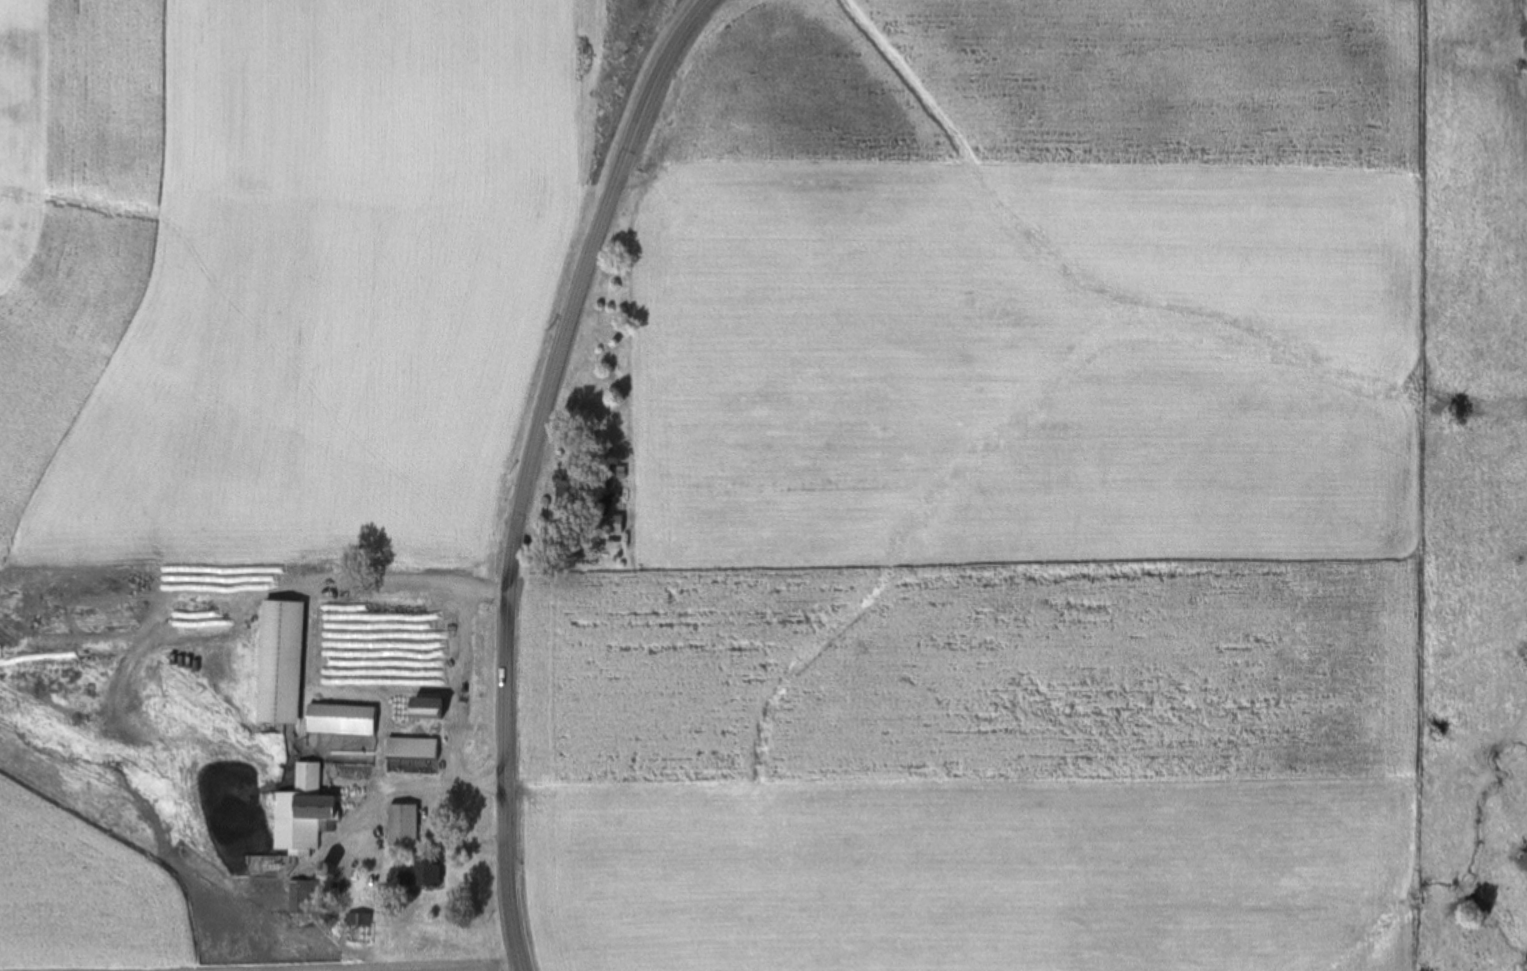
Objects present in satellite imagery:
road: (531, 468)
building: (571, 494)
building: (613, 523)
building: (280, 662)
building: (424, 708)
building: (342, 719)
building: (410, 776)
road: (435, 788)
building: (304, 811)
building: (403, 825)
road: (441, 847)
building: (423, 875)
building: (306, 897)
building: (359, 928)

